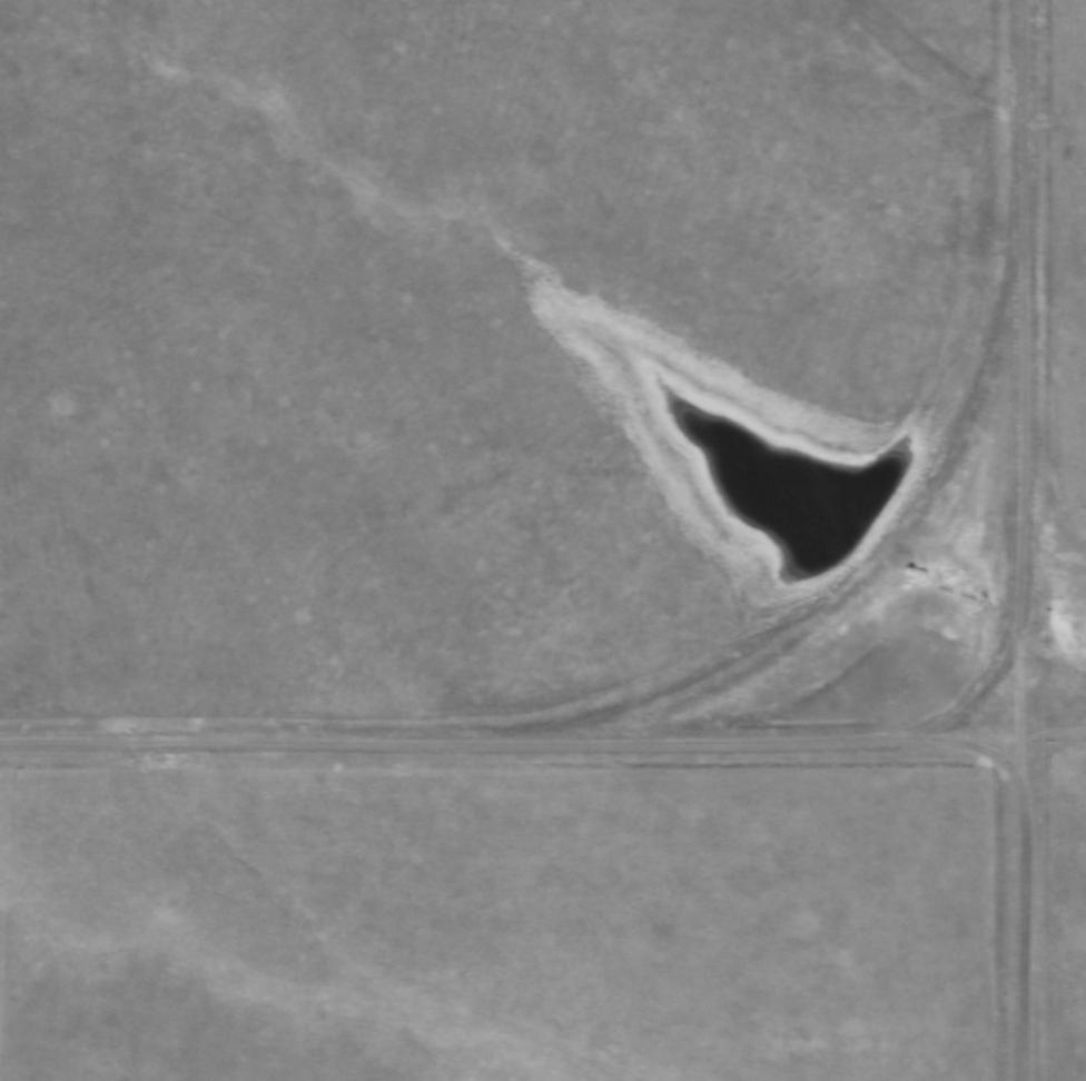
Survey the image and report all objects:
road: (1021, 540)
road: (509, 751)

